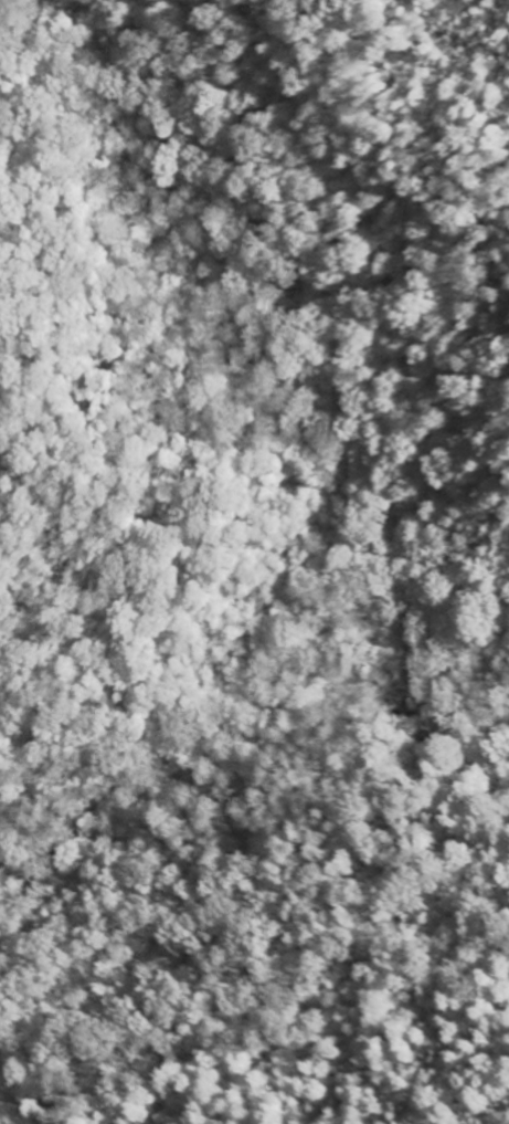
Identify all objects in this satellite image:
road: (245, 623)

